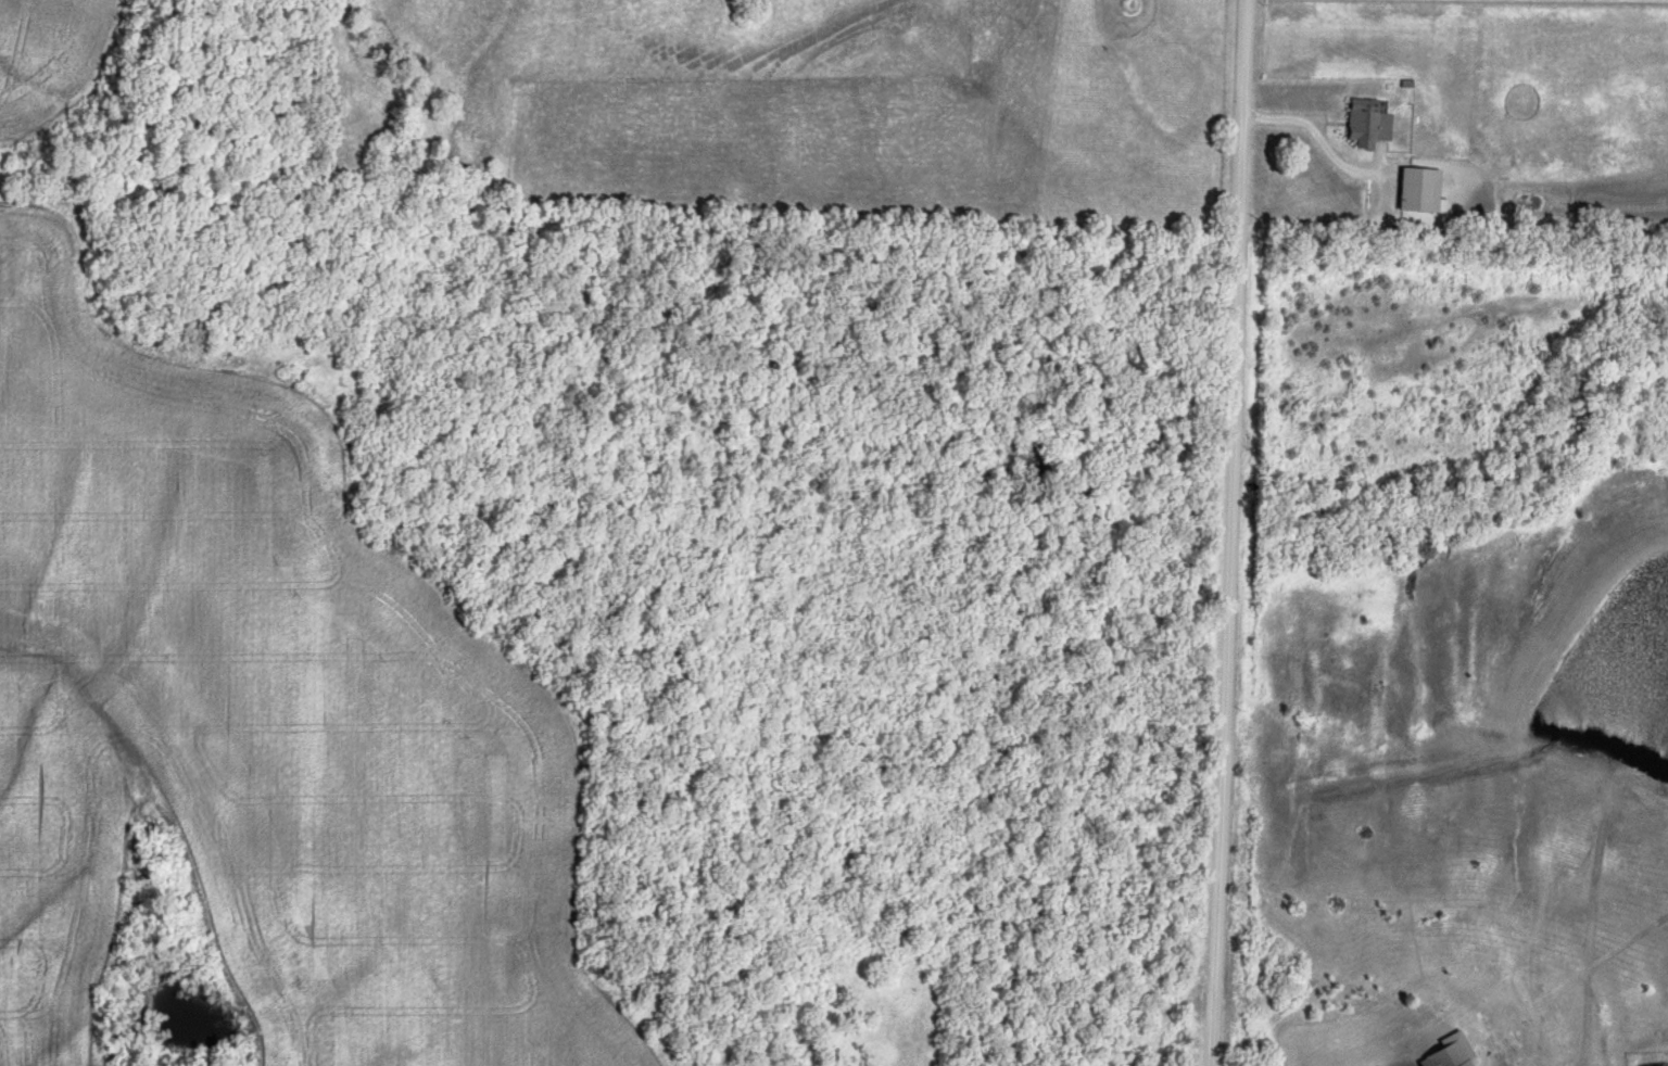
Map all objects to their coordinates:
building: (1367, 120)
road: (1318, 127)
building: (1421, 189)
road: (1228, 532)

